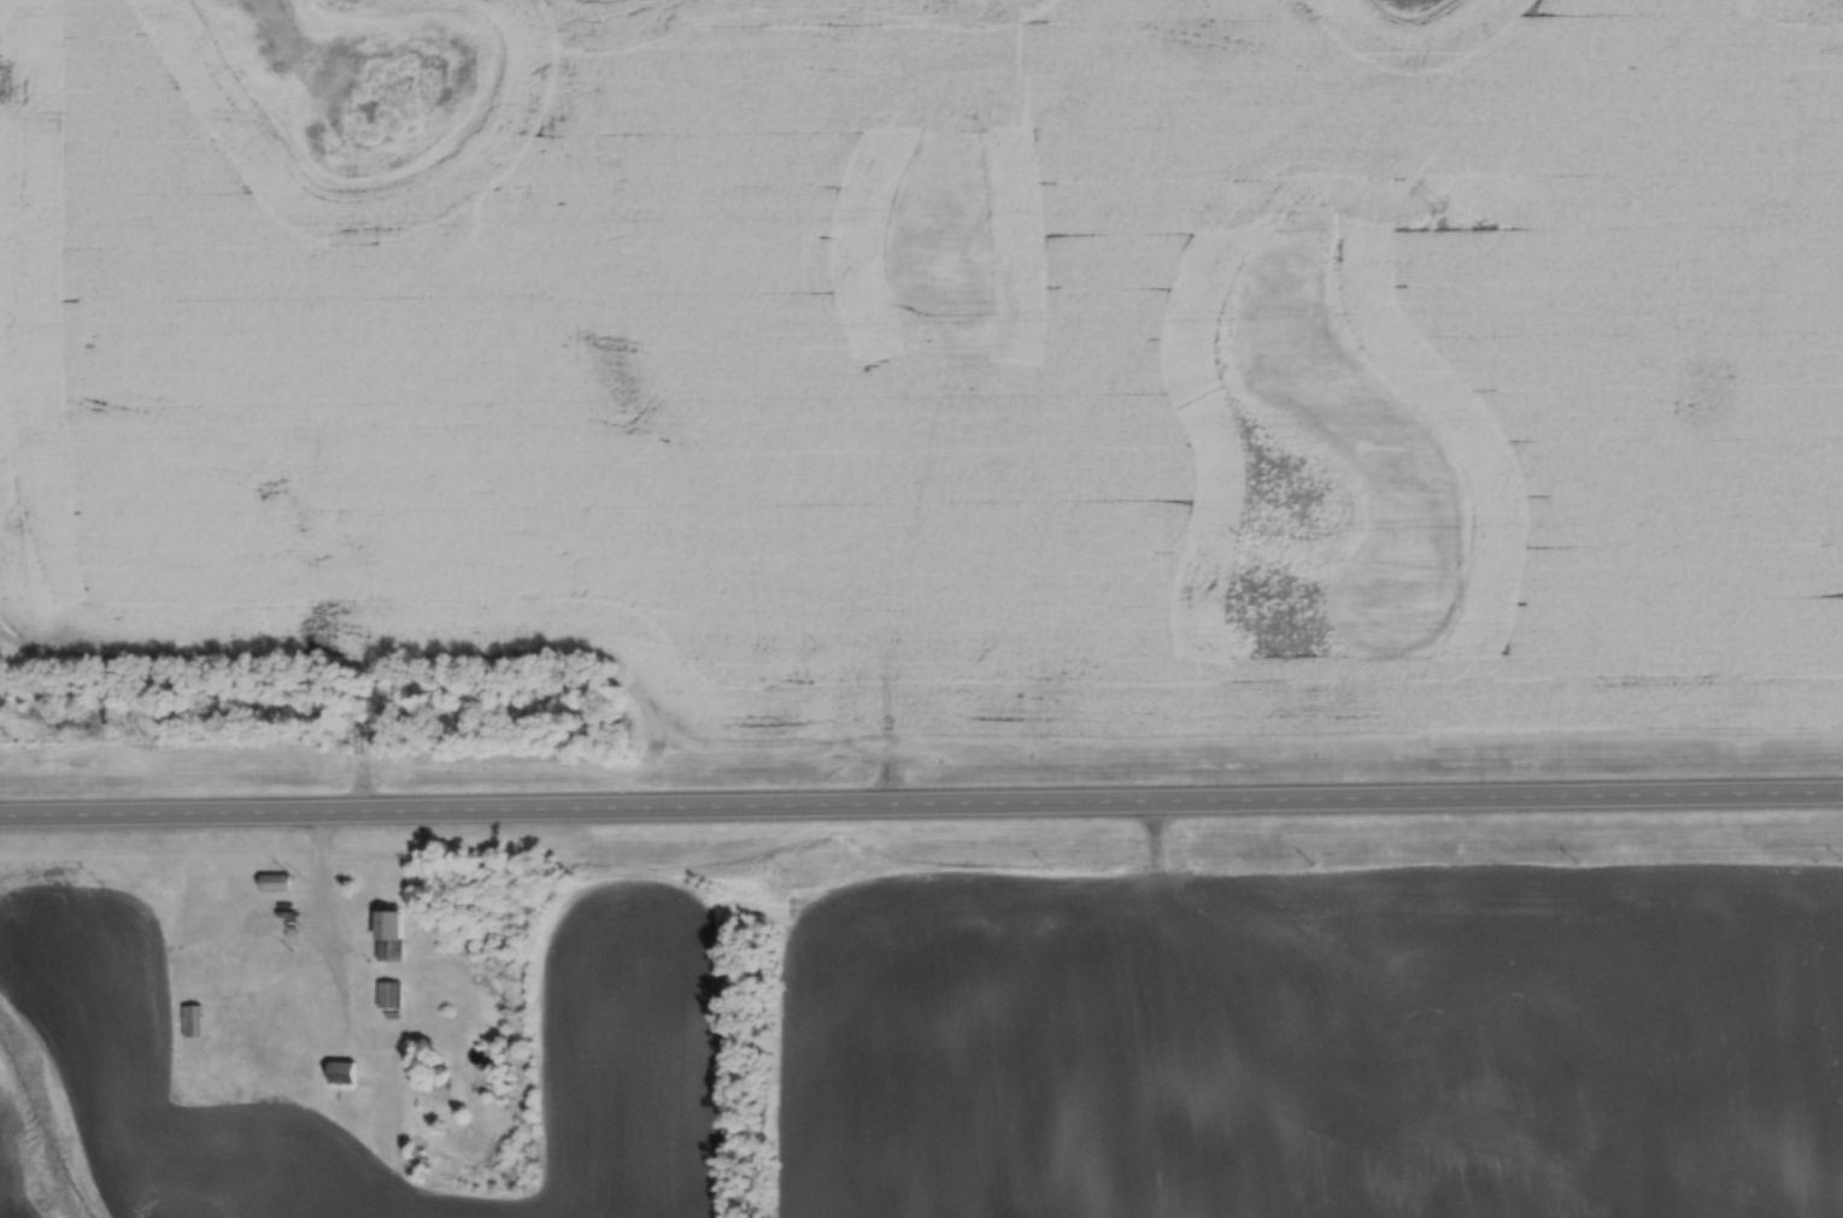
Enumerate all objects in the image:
power tower: (1438, 206)
road: (921, 808)
building: (217, 889)
building: (387, 936)
building: (203, 961)
building: (388, 994)
building: (192, 1020)
building: (340, 1072)

